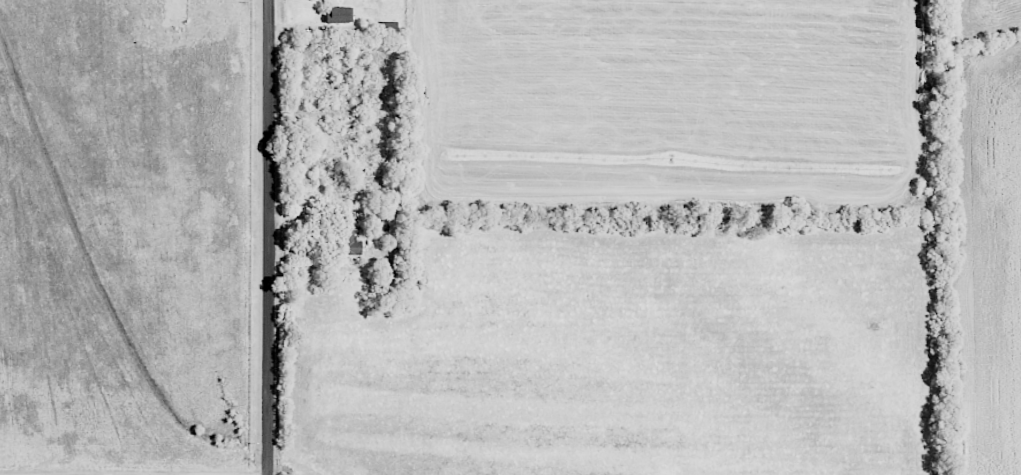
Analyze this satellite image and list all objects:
building: (340, 14)
crop: (670, 104)
road: (267, 237)
building: (348, 241)
crop: (987, 255)

